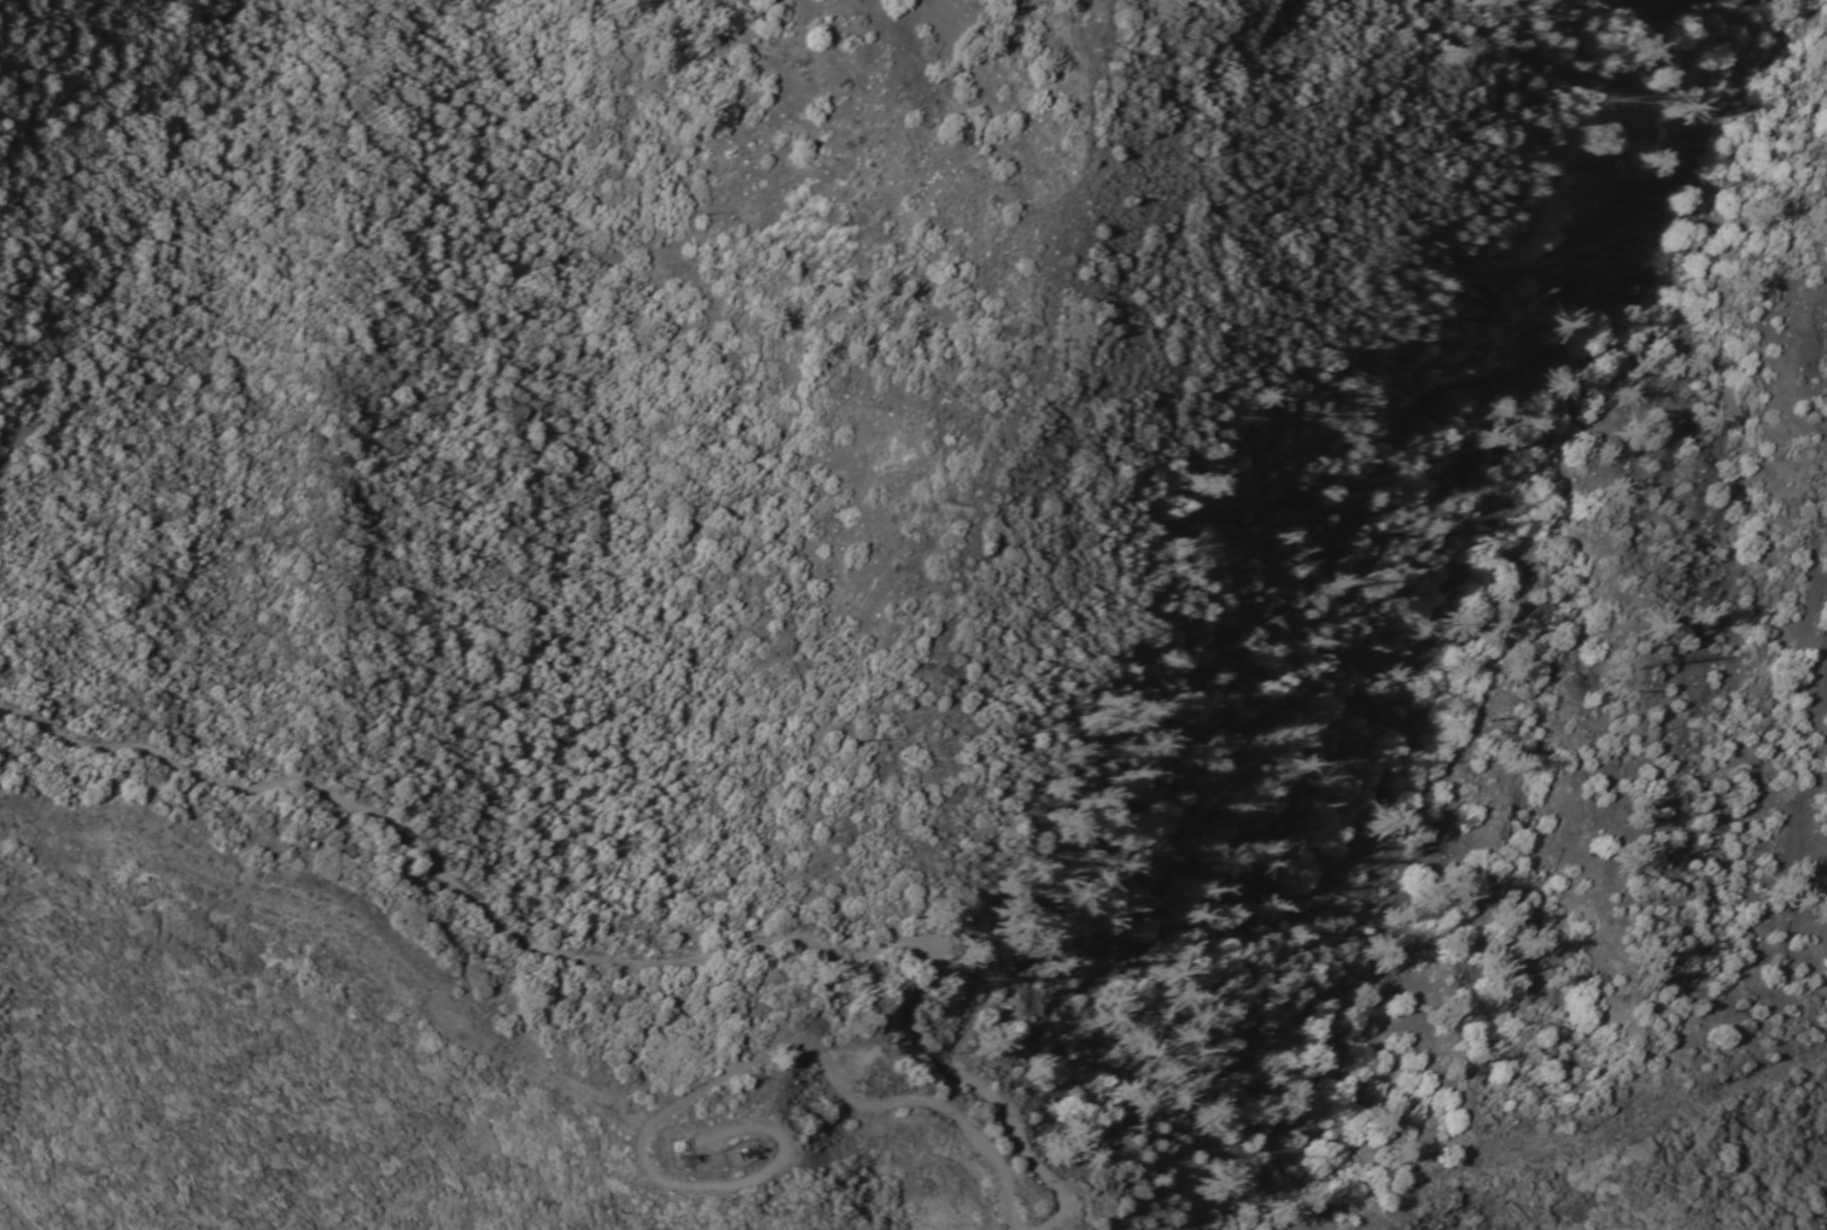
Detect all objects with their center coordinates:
road: (350, 919)
road: (591, 961)
road: (723, 1094)
road: (1594, 1133)
road: (18, 1207)
road: (1020, 1229)

